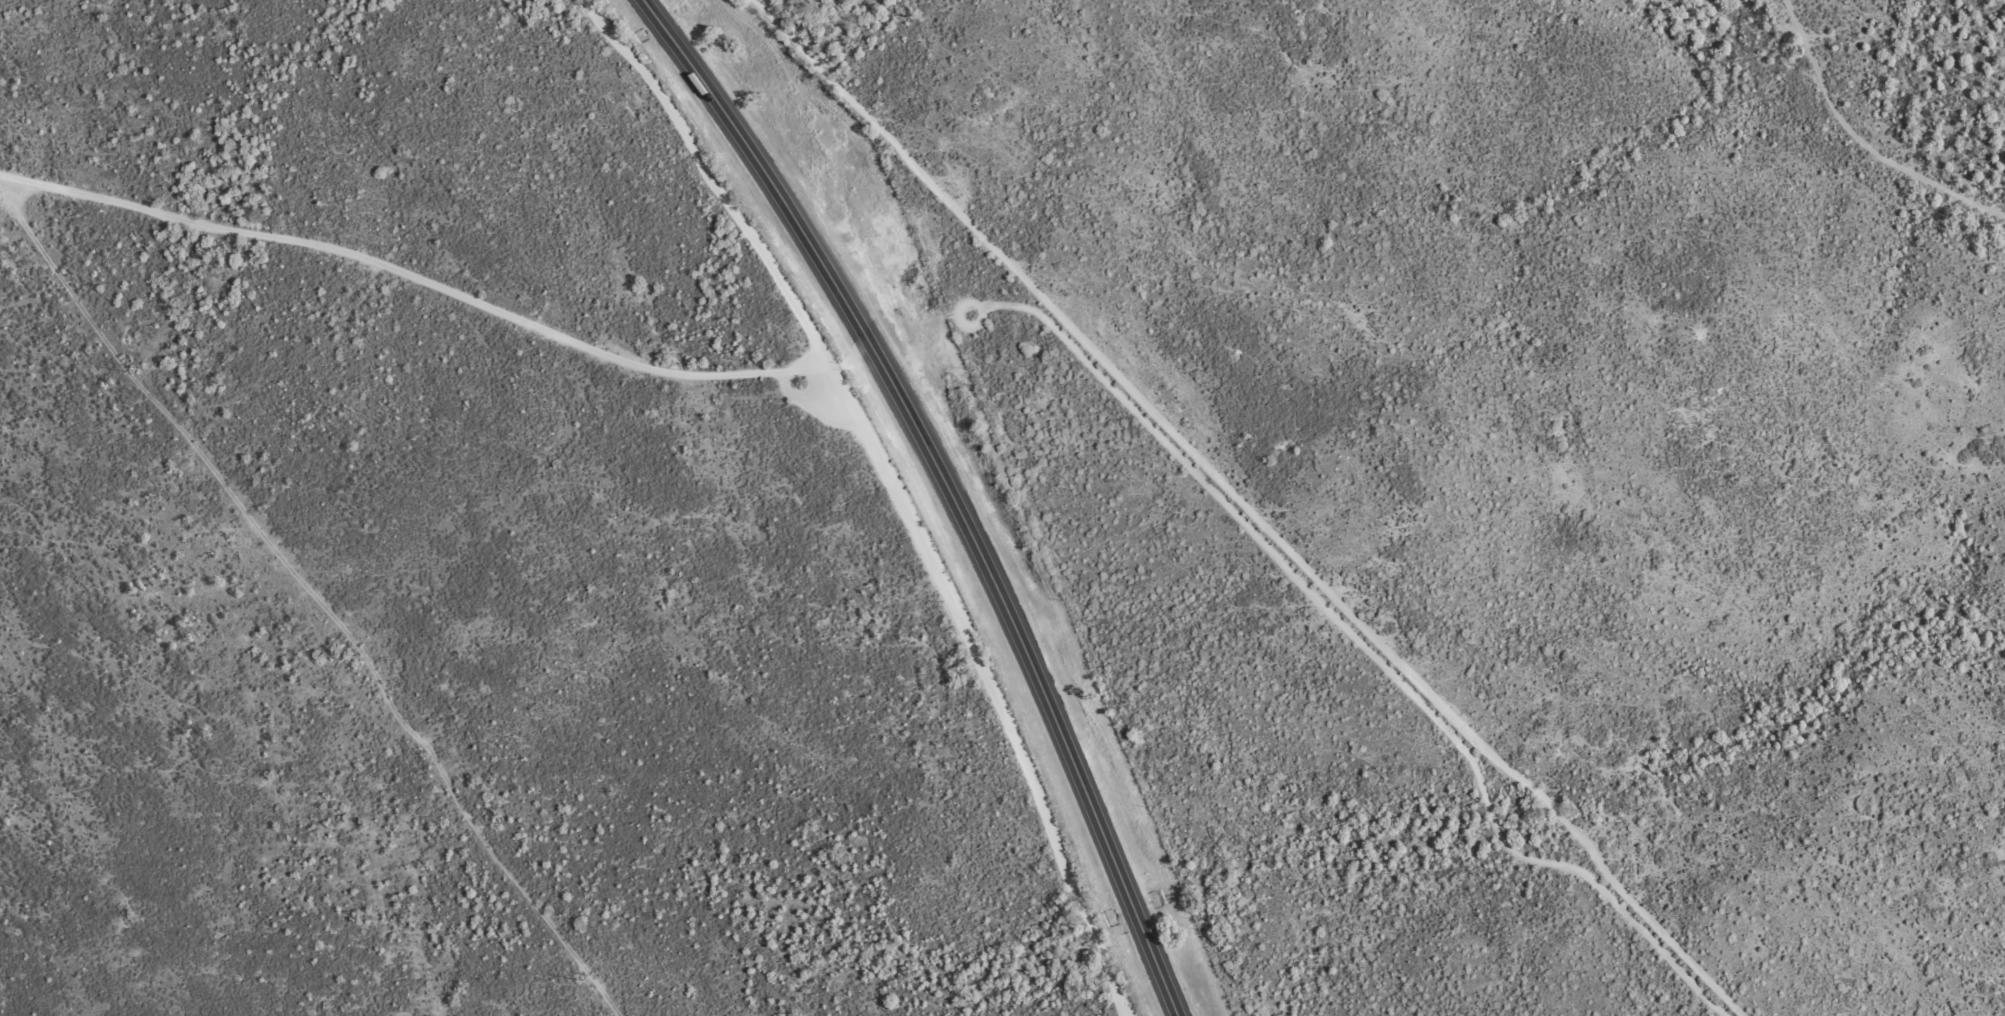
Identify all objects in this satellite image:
road: (437, 285)
power tower: (126, 372)
road: (947, 490)
power tower: (354, 658)
road: (860, 699)
power tower: (590, 980)

